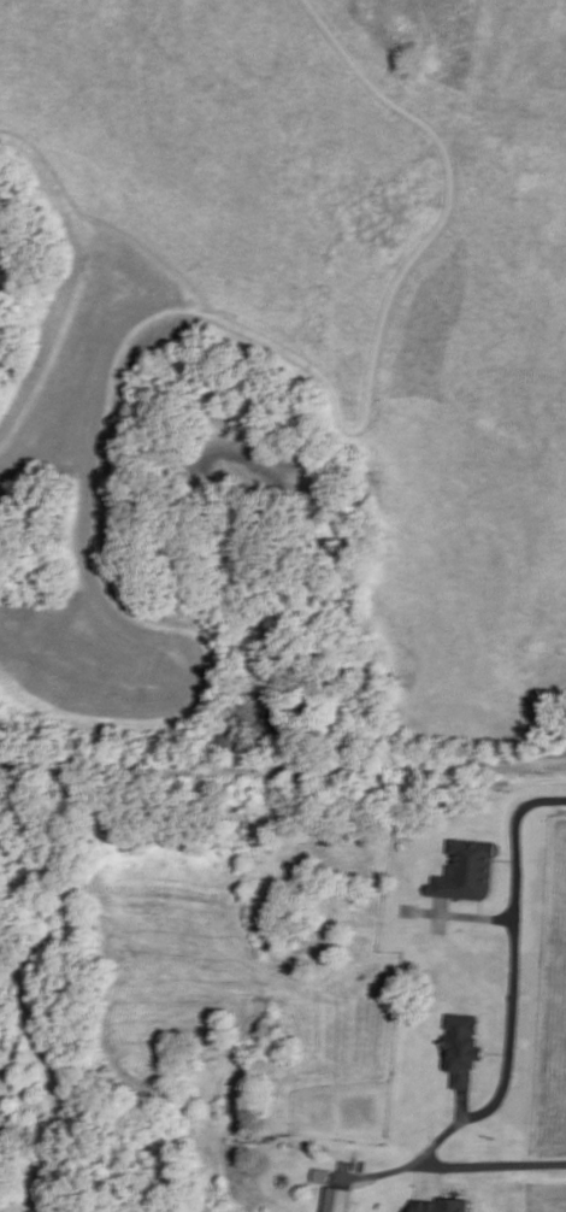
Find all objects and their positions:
road: (282, 772)
building: (381, 865)
building: (467, 869)
road: (460, 912)
road: (512, 1023)
building: (465, 1045)
road: (460, 1102)
road: (499, 1161)
building: (322, 1176)
building: (338, 1200)
building: (440, 1204)

